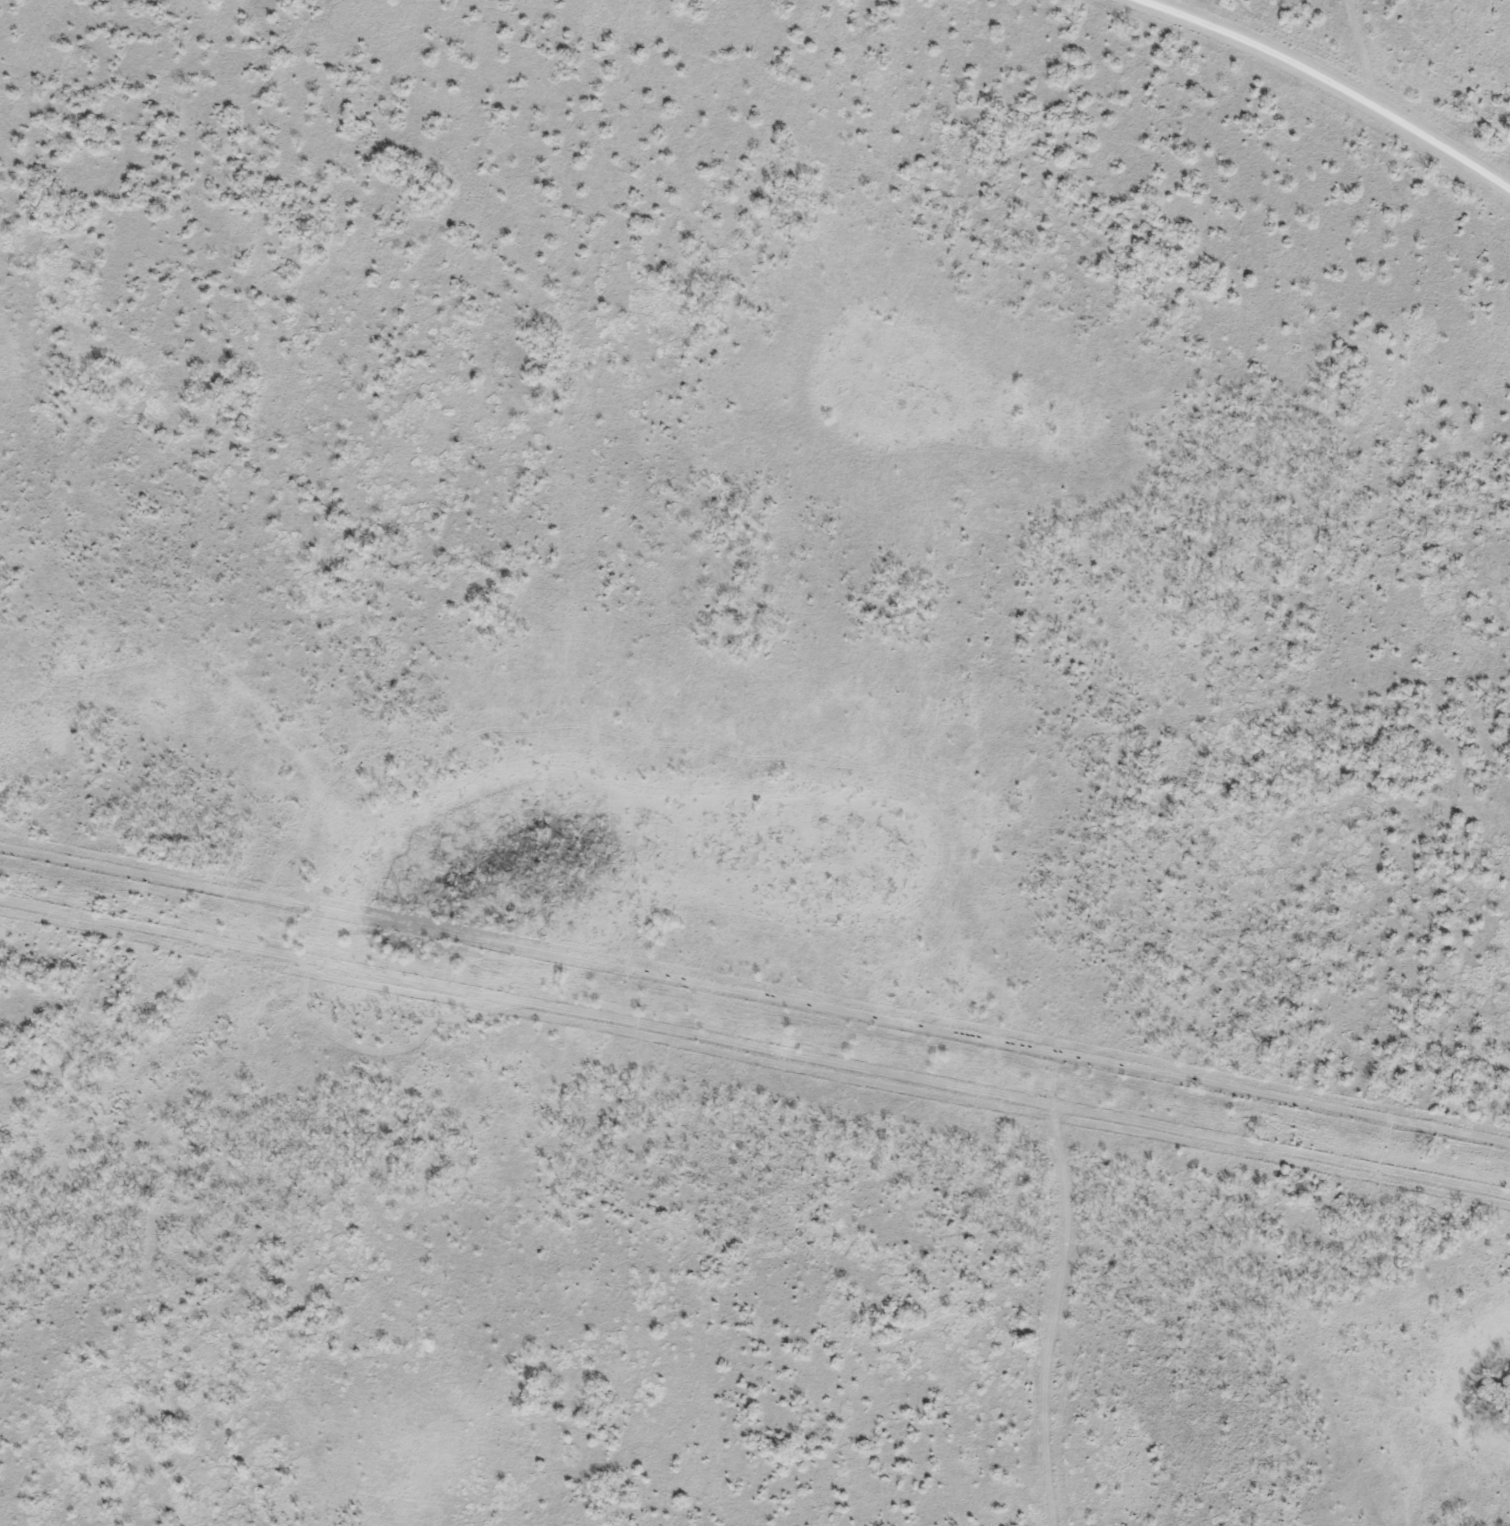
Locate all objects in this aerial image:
road: (1336, 72)

